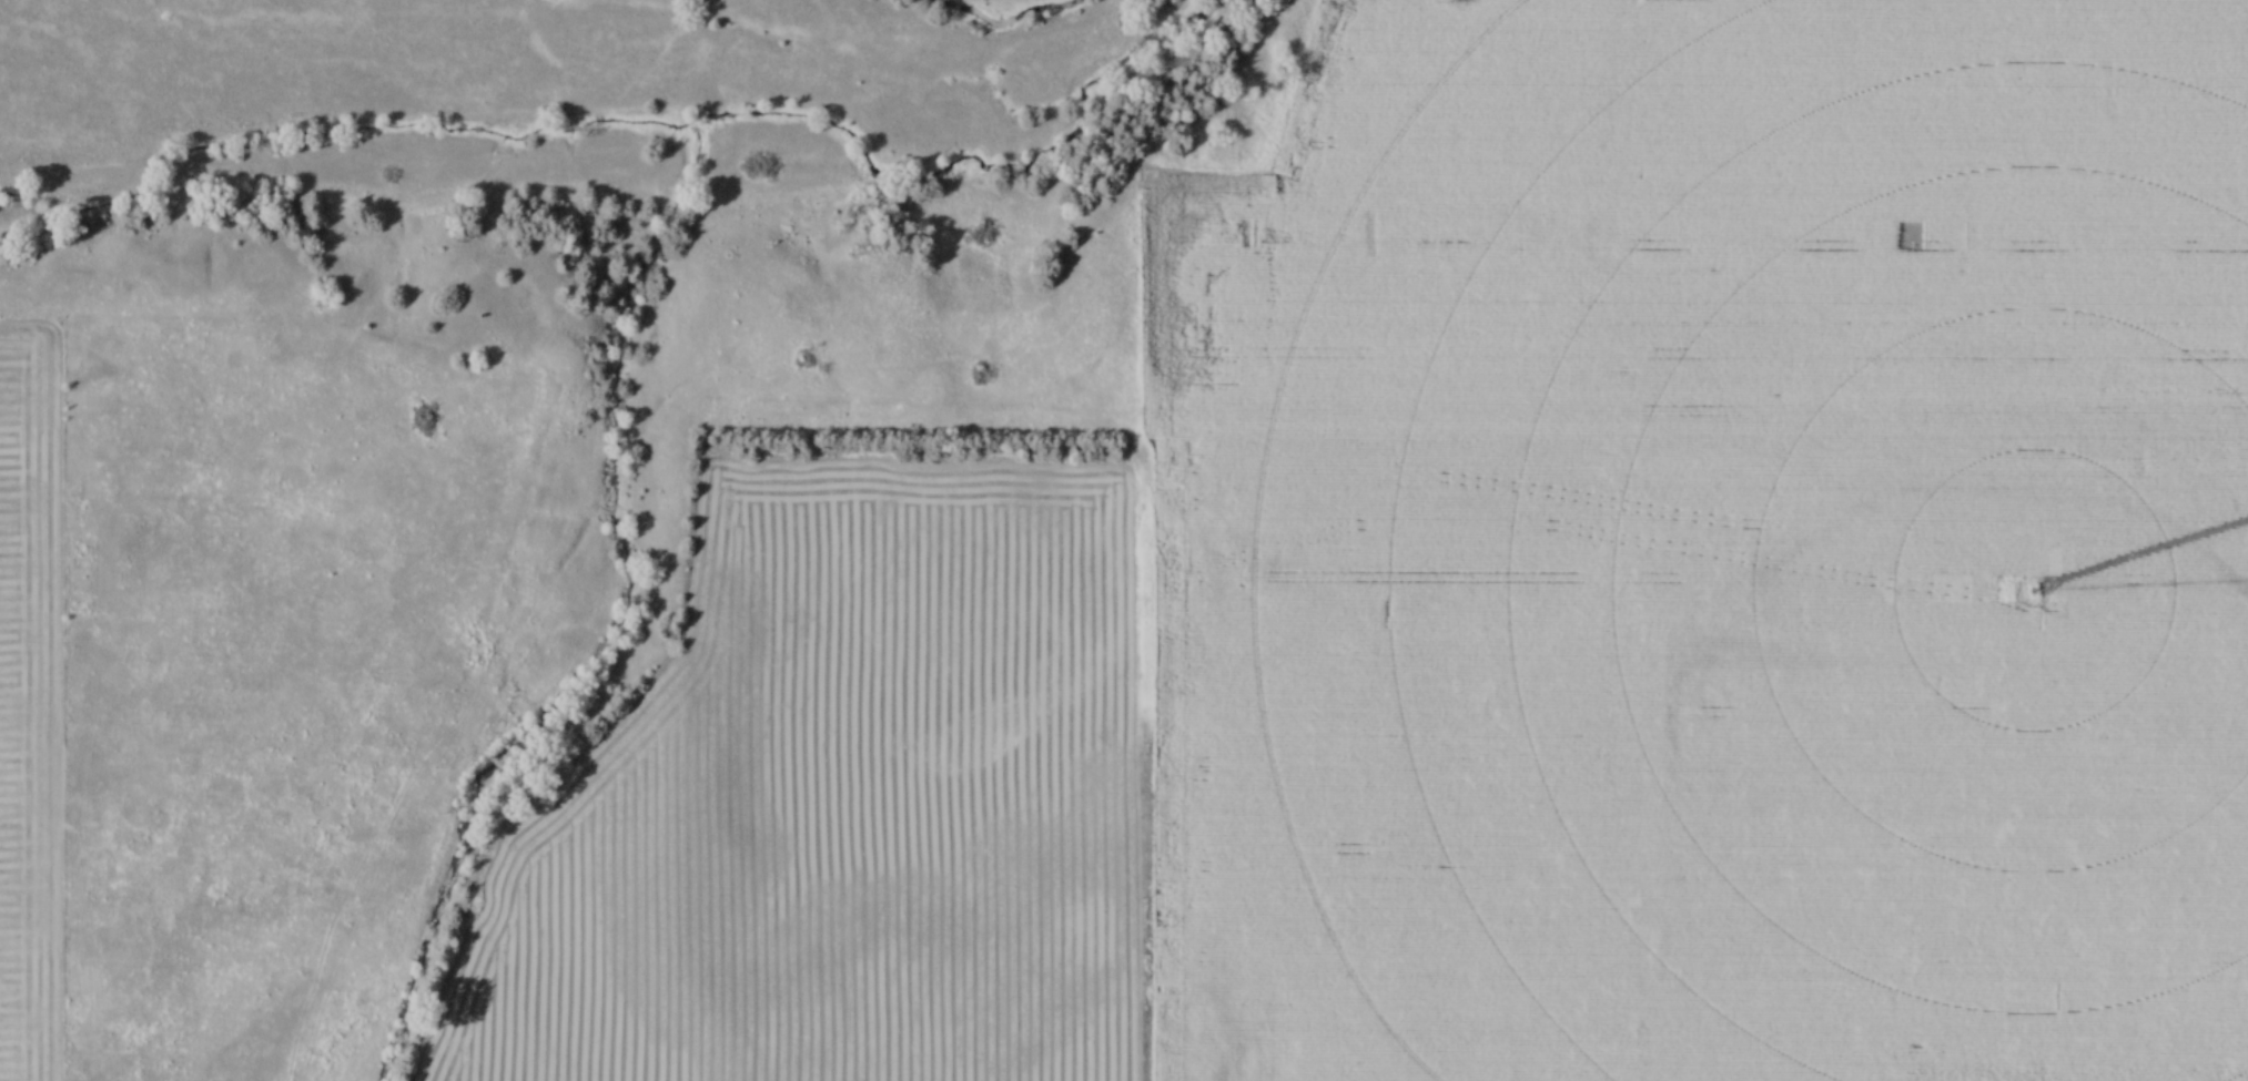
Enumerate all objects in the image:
building: (935, 702)
building: (804, 740)
building: (847, 978)

